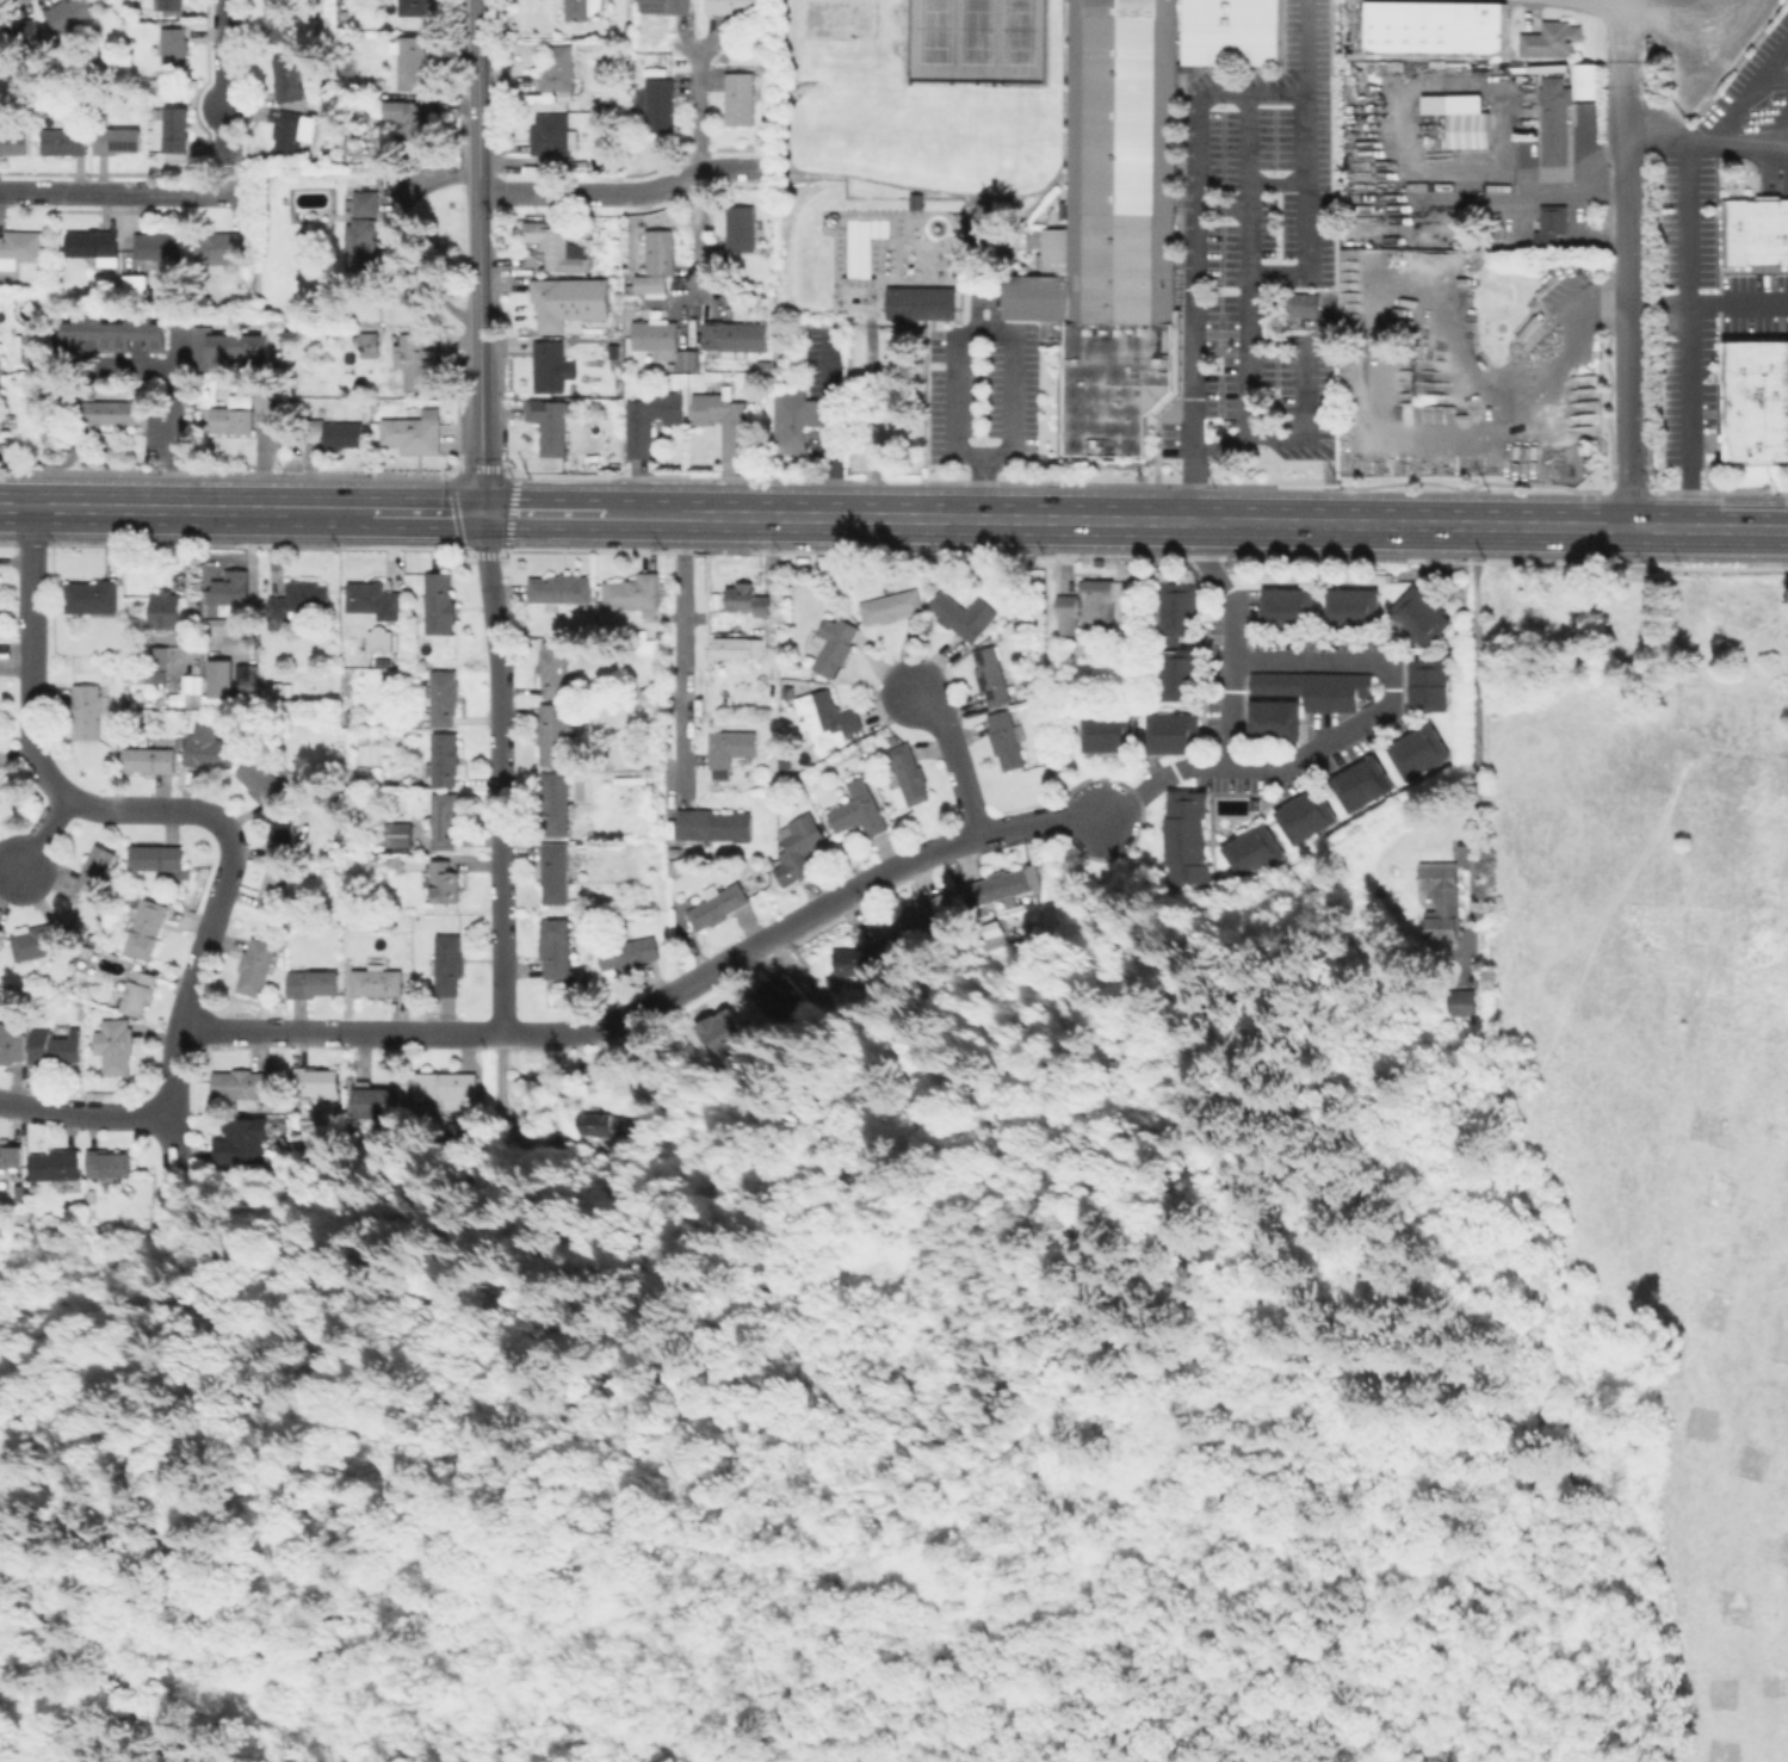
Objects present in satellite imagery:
building: (171, 4)
rooftop solar panel: (650, 6)
building: (667, 6)
building: (737, 6)
building: (413, 7)
building: (577, 10)
road: (1619, 13)
building: (69, 14)
building: (278, 20)
building: (1434, 27)
building: (1235, 31)
building: (18, 33)
park: (973, 38)
building: (1552, 39)
building: (174, 49)
building: (413, 61)
building: (559, 68)
building: (1188, 68)
road: (1701, 73)
road: (223, 79)
building: (289, 79)
building: (1582, 80)
building: (740, 98)
road: (1205, 99)
building: (661, 104)
road: (697, 110)
building: (0, 115)
building: (408, 116)
building: (1555, 119)
building: (1470, 129)
building: (175, 130)
building: (292, 132)
building: (553, 134)
building: (117, 140)
road: (1734, 140)
building: (14, 141)
building: (63, 141)
rooftop solar panel: (124, 150)
road: (688, 174)
road: (97, 192)
road: (549, 193)
building: (1313, 194)
building: (366, 202)
building: (1551, 224)
building: (741, 228)
building: (1116, 228)
building: (1756, 231)
building: (363, 243)
building: (95, 245)
building: (19, 246)
building: (157, 247)
building: (557, 247)
building: (225, 249)
road: (478, 256)
building: (658, 264)
building: (135, 286)
road: (1628, 293)
building: (1301, 298)
building: (631, 302)
building: (918, 302)
building: (550, 303)
road: (1708, 303)
road: (1691, 307)
building: (111, 332)
building: (735, 333)
building: (292, 336)
building: (656, 338)
building: (371, 345)
building: (224, 347)
building: (27, 348)
building: (613, 351)
building: (414, 358)
building: (688, 359)
building: (550, 365)
parking lot: (979, 395)
road: (171, 397)
building: (264, 400)
building: (1755, 401)
building: (106, 412)
building: (235, 415)
building: (651, 419)
building: (725, 420)
building: (794, 420)
building: (552, 421)
building: (333, 433)
building: (413, 434)
road: (839, 441)
road: (1015, 452)
road: (988, 486)
road: (142, 508)
road: (329, 511)
road: (427, 512)
traffic signals: (483, 513)
road: (544, 513)
road: (643, 514)
road: (729, 515)
road: (823, 517)
road: (899, 518)
road: (1034, 519)
road: (1310, 524)
road: (1554, 526)
road: (1708, 528)
building: (230, 589)
building: (559, 589)
road: (1221, 591)
building: (636, 594)
building: (92, 598)
building: (743, 598)
building: (375, 599)
building: (297, 604)
building: (439, 604)
building: (893, 606)
building: (1285, 606)
building: (1350, 606)
building: (1088, 607)
building: (1177, 608)
building: (165, 610)
building: (964, 616)
building: (1418, 617)
building: (216, 631)
building: (379, 638)
building: (834, 644)
building: (736, 647)
road: (683, 651)
rooftop solar panel: (978, 656)
building: (160, 660)
building: (382, 661)
building: (556, 668)
building: (991, 675)
building: (1177, 676)
building: (219, 679)
building: (243, 681)
rooftop solar panel: (982, 681)
building: (194, 682)
building: (1427, 684)
building: (1314, 687)
building: (648, 693)
rooftop solar panel: (988, 693)
building: (445, 695)
building: (87, 710)
building: (827, 718)
building: (1272, 719)
road: (1356, 725)
building: (1105, 730)
building: (1170, 732)
building: (553, 734)
building: (1007, 740)
road: (1479, 743)
building: (730, 747)
building: (209, 748)
building: (1416, 750)
building: (150, 759)
building: (445, 759)
road: (952, 759)
building: (785, 760)
building: (799, 768)
road: (500, 773)
building: (907, 778)
road: (1159, 778)
building: (261, 781)
building: (1361, 784)
building: (1, 793)
building: (1252, 803)
building: (557, 804)
road: (172, 809)
building: (859, 811)
building: (1304, 816)
building: (446, 820)
road: (1023, 824)
building: (713, 826)
building: (1183, 833)
building: (396, 834)
road: (43, 836)
building: (281, 836)
building: (802, 843)
building: (1248, 851)
building: (675, 852)
building: (373, 855)
building: (161, 859)
building: (674, 868)
building: (556, 872)
building: (1034, 873)
building: (97, 874)
building: (445, 882)
building: (997, 885)
building: (274, 889)
building: (1442, 895)
building: (718, 904)
building: (0, 922)
building: (920, 923)
building: (147, 927)
building: (992, 929)
building: (39, 942)
building: (557, 948)
building: (629, 952)
building: (858, 960)
building: (448, 963)
building: (256, 965)
building: (311, 982)
building: (377, 982)
building: (138, 991)
building: (1459, 1002)
road: (586, 1028)
building: (11, 1043)
building: (116, 1045)
building: (54, 1047)
building: (317, 1080)
building: (446, 1083)
building: (243, 1086)
building: (287, 1101)
building: (378, 1102)
road: (85, 1114)
building: (598, 1123)
building: (240, 1144)
building: (12, 1158)
building: (109, 1163)
building: (57, 1167)
road: (1134, 1177)
building: (35, 1187)
building: (89, 1195)
road: (99, 1276)
road: (1489, 1278)
road: (985, 1620)

